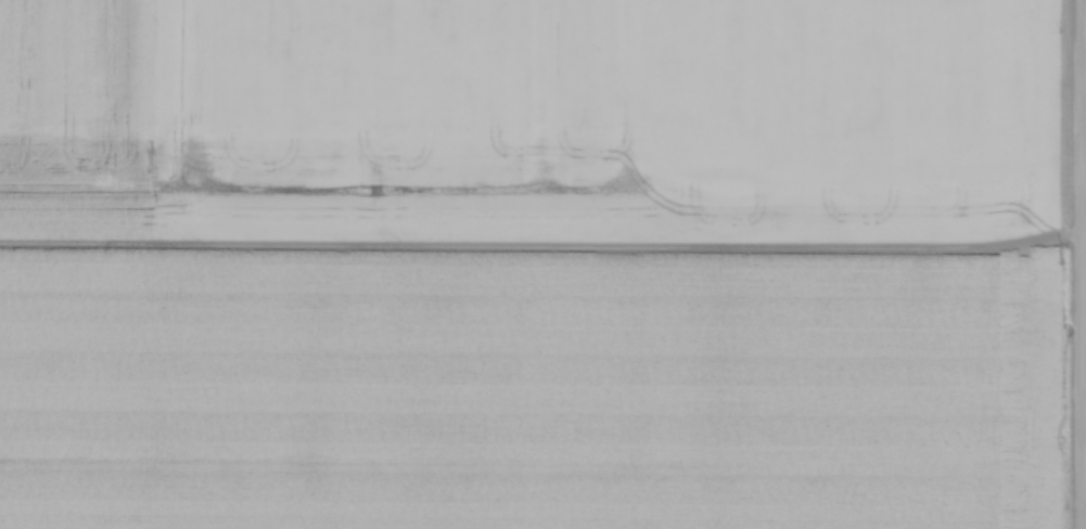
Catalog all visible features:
road: (1085, 221)
road: (1085, 264)
road: (1085, 457)

